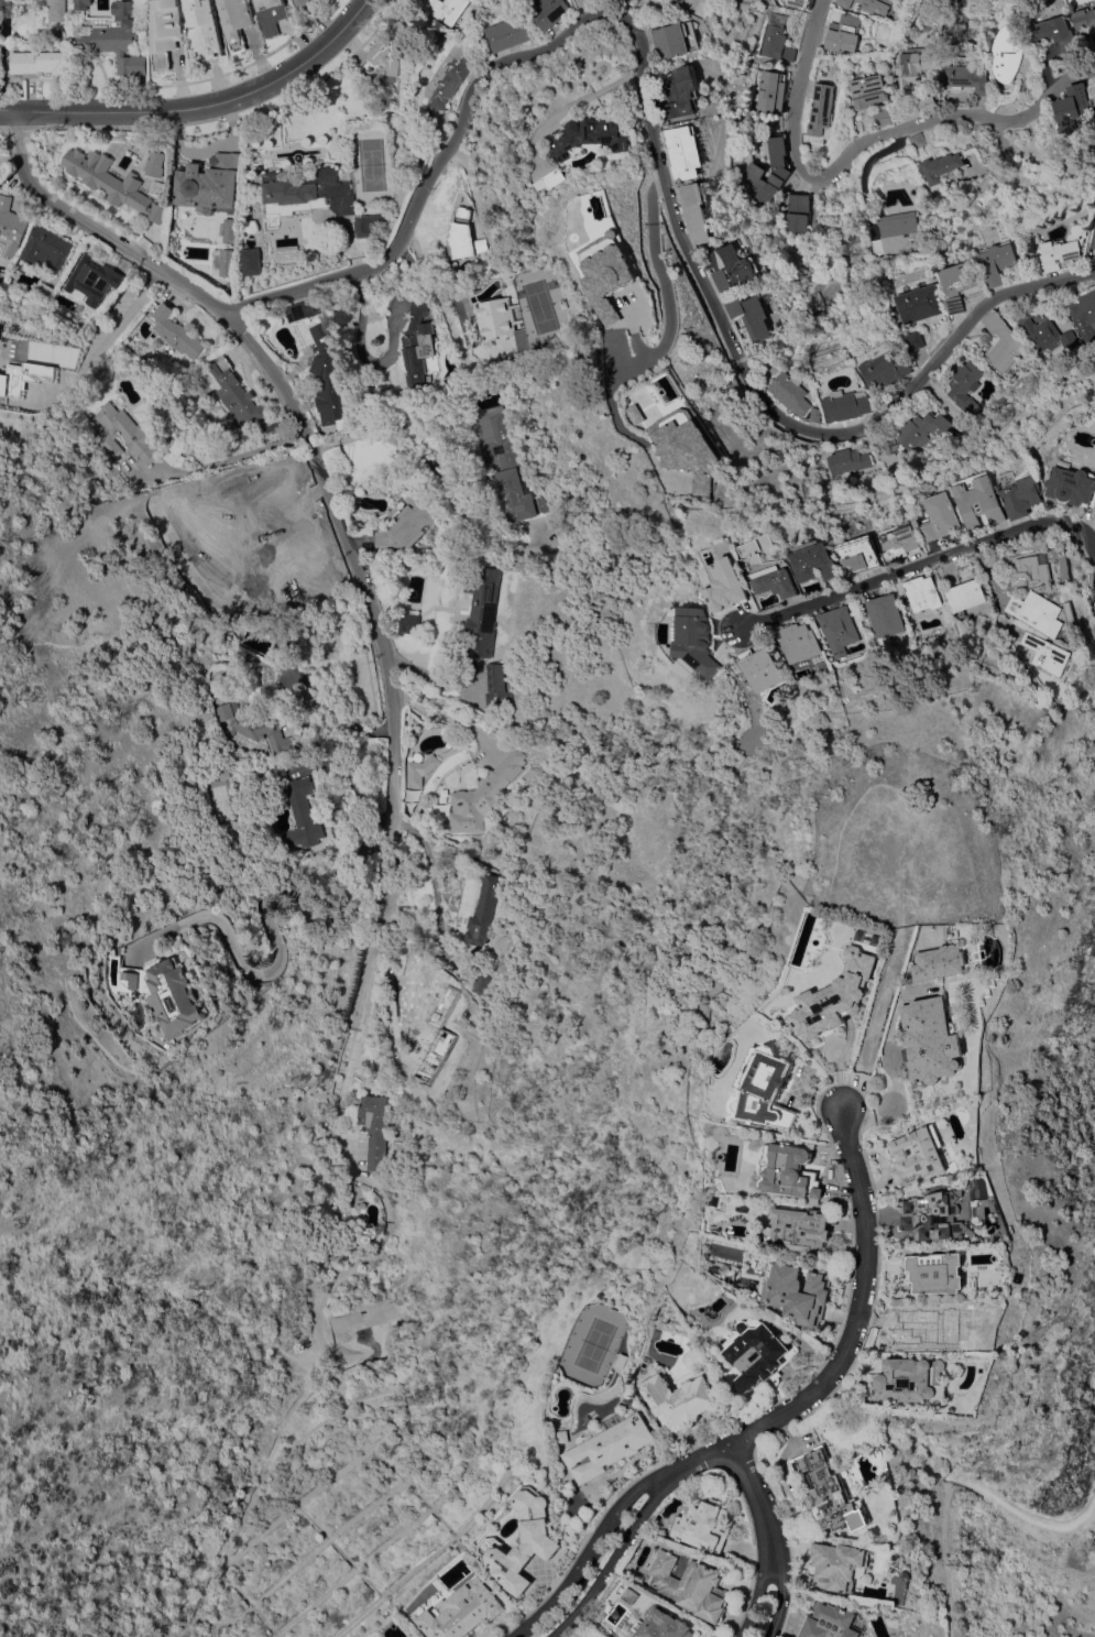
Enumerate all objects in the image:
building: (691, 0)
building: (3, 2)
building: (300, 3)
building: (799, 3)
building: (843, 3)
building: (83, 4)
building: (874, 8)
building: (55, 10)
building: (449, 10)
building: (556, 12)
building: (270, 15)
building: (1084, 20)
building: (236, 21)
building: (204, 28)
building: (119, 30)
building: (165, 32)
building: (514, 33)
building: (842, 33)
building: (1053, 33)
building: (778, 40)
building: (681, 41)
building: (385, 52)
building: (1006, 54)
building: (39, 63)
building: (132, 66)
building: (913, 67)
building: (452, 75)
building: (965, 77)
building: (1094, 88)
building: (868, 91)
building: (773, 92)
building: (690, 94)
road: (582, 102)
road: (210, 105)
building: (928, 105)
building: (1072, 107)
building: (819, 112)
building: (882, 118)
building: (600, 137)
building: (917, 141)
road: (861, 143)
road: (665, 150)
building: (692, 153)
building: (152, 165)
building: (942, 168)
building: (756, 171)
building: (560, 179)
building: (110, 181)
building: (209, 185)
building: (307, 194)
building: (701, 210)
building: (795, 211)
building: (365, 225)
building: (11, 226)
building: (229, 231)
building: (895, 233)
building: (467, 237)
building: (1094, 245)
building: (45, 249)
building: (851, 249)
building: (1064, 251)
building: (997, 255)
building: (231, 259)
building: (251, 262)
building: (733, 269)
building: (1032, 270)
building: (90, 279)
building: (617, 280)
building: (961, 284)
building: (43, 292)
building: (811, 303)
building: (570, 304)
building: (919, 305)
building: (302, 312)
building: (1086, 313)
road: (675, 317)
building: (751, 317)
building: (508, 323)
building: (176, 332)
road: (111, 335)
building: (1051, 335)
building: (915, 341)
building: (1005, 342)
building: (418, 343)
road: (362, 352)
building: (35, 368)
building: (884, 371)
building: (327, 380)
building: (11, 381)
building: (964, 386)
building: (789, 393)
building: (236, 394)
building: (846, 405)
building: (813, 415)
building: (922, 430)
building: (129, 434)
road: (305, 443)
building: (696, 452)
building: (178, 455)
road: (237, 457)
building: (846, 461)
building: (511, 462)
road: (438, 474)
building: (1073, 487)
building: (1021, 494)
building: (979, 501)
building: (941, 517)
building: (407, 523)
building: (902, 539)
building: (814, 561)
building: (511, 565)
road: (919, 567)
building: (1041, 568)
building: (780, 581)
building: (732, 585)
road: (995, 590)
building: (922, 594)
building: (966, 596)
building: (482, 612)
building: (1042, 613)
building: (884, 618)
building: (408, 622)
building: (837, 630)
building: (285, 637)
building: (799, 641)
building: (699, 643)
building: (1048, 656)
building: (762, 668)
road: (429, 675)
building: (495, 687)
road: (332, 710)
building: (252, 722)
building: (751, 740)
building: (418, 771)
building: (481, 795)
building: (300, 815)
road: (434, 887)
building: (486, 904)
road: (269, 910)
building: (110, 953)
building: (939, 963)
building: (129, 976)
building: (480, 983)
building: (835, 996)
building: (175, 997)
building: (430, 1012)
road: (353, 1032)
building: (932, 1040)
road: (894, 1063)
building: (409, 1088)
building: (767, 1088)
building: (371, 1127)
building: (918, 1154)
building: (790, 1172)
building: (937, 1215)
building: (800, 1230)
building: (937, 1273)
building: (797, 1292)
road: (848, 1340)
building: (758, 1354)
building: (696, 1358)
building: (913, 1380)
building: (679, 1398)
building: (611, 1448)
road: (953, 1474)
road: (749, 1485)
building: (830, 1492)
building: (703, 1526)
building: (543, 1543)
road: (585, 1552)
road: (610, 1561)
building: (841, 1565)
road: (778, 1582)
road: (759, 1583)
building: (690, 1585)
building: (463, 1611)
building: (834, 1623)
building: (660, 1625)

